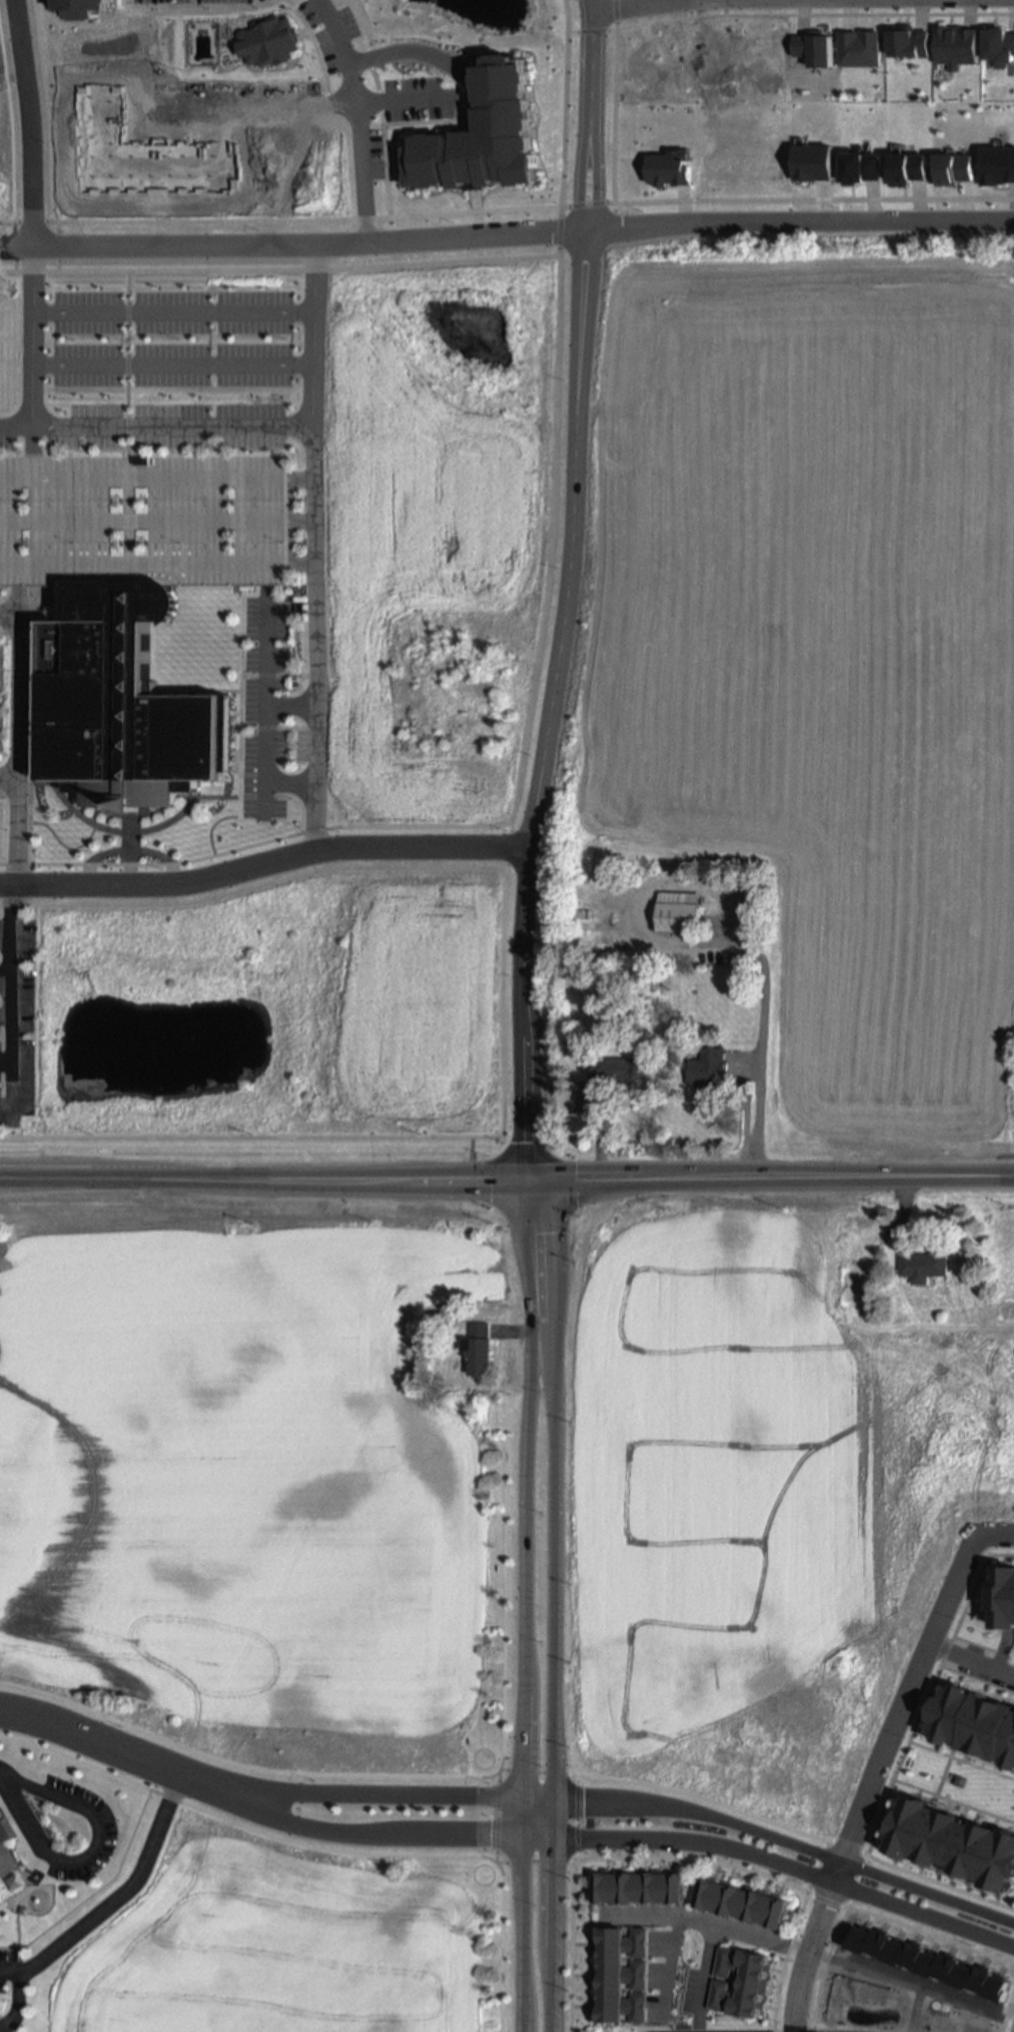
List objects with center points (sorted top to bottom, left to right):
road: (641, 6)
building: (86, 9)
building: (272, 43)
road: (592, 50)
road: (418, 52)
road: (409, 102)
road: (363, 116)
road: (31, 123)
building: (486, 138)
building: (812, 162)
road: (578, 165)
building: (997, 165)
road: (596, 168)
building: (669, 168)
building: (859, 168)
building: (906, 169)
building: (954, 169)
road: (798, 221)
road: (299, 245)
road: (559, 266)
road: (173, 311)
parking lot: (173, 312)
road: (31, 337)
road: (314, 341)
parking lot: (172, 364)
road: (172, 364)
road: (143, 427)
parking lot: (147, 427)
road: (127, 428)
road: (157, 479)
building: (141, 521)
parking garage: (141, 521)
road: (156, 521)
road: (128, 532)
road: (567, 542)
road: (157, 566)
road: (13, 601)
road: (6, 619)
road: (314, 631)
road: (13, 635)
crop: (820, 658)
road: (276, 676)
road: (238, 696)
road: (263, 701)
building: (118, 705)
road: (288, 708)
parking lot: (262, 709)
road: (276, 728)
road: (26, 733)
road: (13, 735)
road: (7, 780)
road: (287, 782)
road: (252, 796)
road: (101, 826)
road: (0, 833)
road: (128, 849)
road: (127, 850)
road: (260, 865)
road: (251, 888)
building: (679, 913)
road: (498, 976)
road: (6, 979)
road: (13, 996)
road: (523, 1013)
road: (6, 1016)
parking lot: (16, 1021)
road: (6, 1064)
road: (757, 1066)
building: (710, 1069)
building: (617, 1072)
road: (7, 1107)
road: (506, 1178)
traffic signals: (525, 1178)
road: (1012, 1193)
road: (1013, 1207)
building: (925, 1267)
building: (855, 1287)
building: (436, 1314)
building: (478, 1350)
road: (1011, 1370)
road: (527, 1489)
road: (998, 1530)
road: (502, 1581)
building: (1004, 1600)
road: (553, 1602)
road: (970, 1655)
building: (975, 1729)
road: (112, 1744)
road: (243, 1767)
road: (533, 1774)
road: (870, 1775)
road: (22, 1782)
road: (369, 1803)
road: (536, 1804)
road: (494, 1815)
road: (23, 1816)
road: (574, 1820)
parking lot: (60, 1822)
road: (240, 1827)
road: (99, 1830)
road: (794, 1832)
road: (620, 1843)
road: (788, 1845)
building: (7, 1847)
building: (954, 1849)
road: (694, 1860)
road: (531, 1862)
road: (813, 1867)
road: (855, 1882)
building: (641, 1887)
road: (96, 1891)
road: (124, 1892)
building: (745, 1903)
road: (830, 1904)
road: (518, 1917)
parking lot: (76, 1926)
road: (714, 1935)
road: (931, 1937)
road: (499, 1946)
road: (571, 1947)
road: (804, 1949)
road: (783, 1962)
road: (667, 1966)
road: (825, 1968)
road: (9, 1970)
building: (620, 1973)
building: (737, 1979)
road: (18, 2002)
road: (914, 2009)

